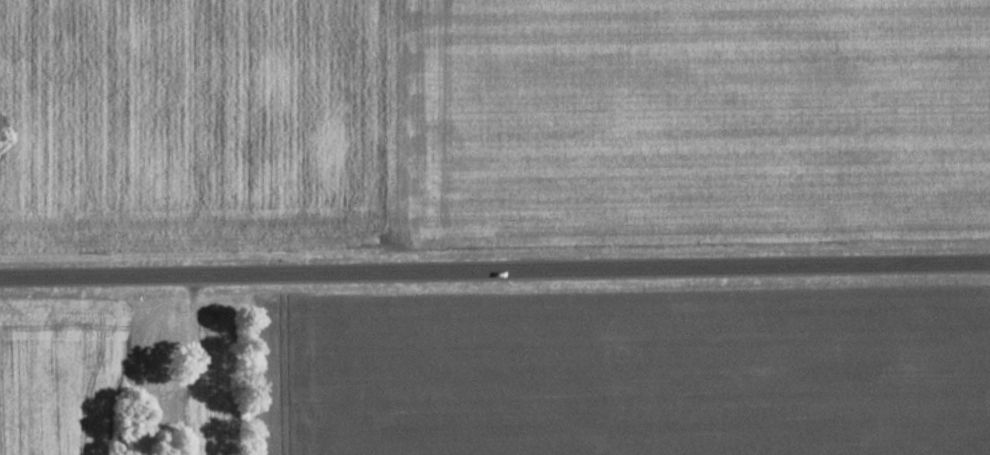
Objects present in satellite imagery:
crop: (685, 119)
crop: (191, 123)
road: (495, 271)
crop: (634, 378)
crop: (58, 380)

